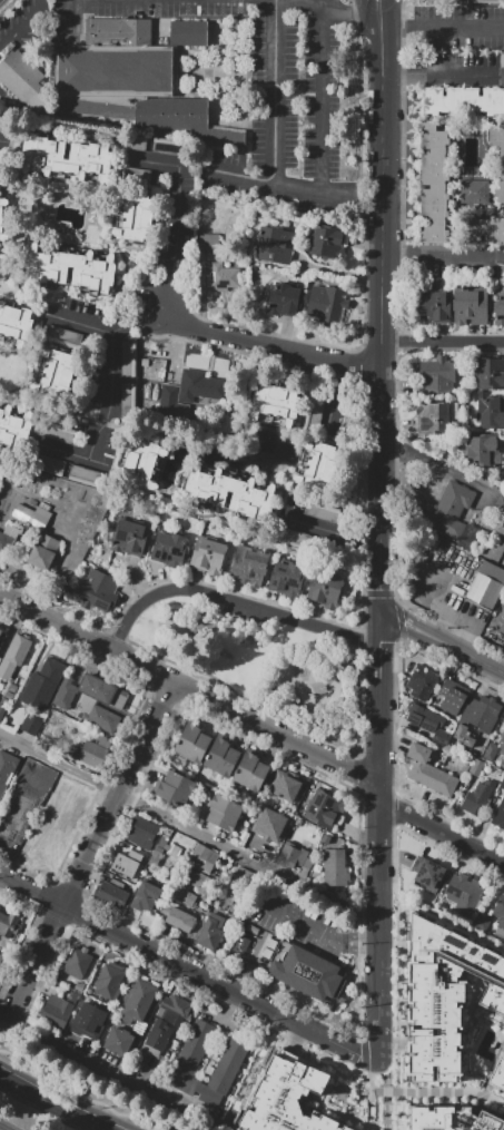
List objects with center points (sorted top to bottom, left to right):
building: (439, 0)
road: (386, 1)
building: (488, 1)
road: (326, 8)
road: (370, 11)
road: (384, 11)
road: (68, 12)
road: (21, 24)
road: (442, 27)
parking lot: (465, 27)
building: (188, 33)
parking lot: (458, 60)
building: (502, 60)
parking lot: (502, 60)
building: (116, 61)
road: (443, 77)
building: (23, 79)
road: (275, 92)
parking lot: (265, 94)
building: (465, 100)
road: (324, 101)
building: (180, 119)
building: (1, 124)
parking lot: (6, 137)
building: (2, 155)
building: (68, 157)
building: (498, 158)
building: (137, 176)
building: (3, 180)
building: (433, 184)
road: (299, 189)
building: (475, 190)
road: (178, 196)
parking lot: (184, 198)
building: (135, 216)
building: (2, 218)
building: (482, 229)
building: (213, 240)
building: (327, 242)
road: (21, 245)
building: (275, 245)
road: (144, 247)
road: (443, 254)
building: (2, 259)
road: (123, 267)
parking lot: (457, 271)
building: (501, 271)
parking lot: (501, 271)
road: (338, 272)
building: (93, 273)
building: (224, 278)
road: (23, 291)
road: (167, 294)
building: (283, 299)
building: (326, 303)
building: (470, 305)
building: (434, 307)
building: (500, 309)
road: (137, 320)
road: (382, 321)
road: (41, 324)
building: (14, 325)
building: (65, 332)
road: (442, 341)
road: (62, 344)
road: (269, 344)
building: (128, 357)
building: (437, 371)
road: (29, 373)
building: (491, 373)
building: (56, 374)
road: (339, 376)
parking lot: (90, 385)
building: (190, 391)
building: (128, 400)
road: (110, 401)
building: (275, 402)
building: (317, 410)
road: (332, 411)
building: (491, 412)
parking lot: (329, 414)
building: (434, 417)
building: (13, 426)
building: (57, 432)
road: (300, 434)
road: (175, 438)
building: (484, 451)
road: (21, 456)
building: (142, 463)
building: (49, 464)
building: (317, 466)
road: (439, 468)
building: (503, 471)
building: (86, 476)
building: (206, 490)
road: (192, 505)
building: (500, 505)
building: (451, 510)
building: (322, 511)
building: (32, 514)
parking lot: (314, 524)
road: (320, 527)
building: (8, 535)
building: (130, 538)
building: (293, 538)
road: (364, 540)
building: (172, 548)
building: (43, 551)
building: (209, 556)
building: (248, 567)
building: (287, 580)
building: (486, 584)
building: (97, 590)
building: (325, 591)
road: (234, 601)
parking lot: (244, 615)
building: (0, 629)
building: (0, 631)
road: (444, 642)
road: (190, 647)
building: (14, 656)
building: (0, 658)
park: (264, 667)
building: (421, 681)
road: (304, 682)
building: (43, 684)
building: (12, 688)
road: (191, 688)
building: (102, 691)
building: (65, 694)
building: (8, 695)
building: (453, 696)
building: (4, 700)
building: (2, 710)
building: (482, 714)
building: (98, 715)
building: (424, 718)
building: (31, 725)
building: (464, 736)
building: (441, 737)
building: (502, 741)
building: (192, 743)
building: (96, 751)
building: (491, 751)
building: (418, 753)
building: (503, 753)
building: (221, 757)
building: (7, 769)
building: (250, 772)
building: (422, 773)
building: (30, 780)
building: (444, 783)
building: (285, 786)
building: (176, 789)
building: (477, 798)
building: (320, 808)
building: (224, 813)
building: (500, 815)
building: (269, 825)
building: (7, 832)
building: (141, 833)
road: (190, 833)
road: (444, 833)
building: (244, 838)
building: (326, 839)
road: (384, 841)
road: (92, 848)
building: (156, 856)
building: (294, 856)
building: (204, 859)
building: (126, 861)
building: (335, 867)
building: (431, 875)
building: (245, 877)
building: (198, 881)
building: (112, 893)
building: (466, 893)
building: (146, 896)
building: (184, 896)
building: (500, 915)
building: (179, 918)
road: (444, 920)
parking lot: (296, 921)
road: (299, 921)
building: (482, 922)
building: (8, 924)
building: (253, 928)
building: (210, 932)
road: (360, 935)
building: (245, 940)
building: (259, 943)
road: (364, 949)
building: (0, 955)
building: (78, 962)
road: (190, 970)
building: (309, 973)
building: (110, 980)
building: (79, 986)
building: (445, 994)
building: (85, 998)
building: (138, 999)
building: (176, 1004)
building: (56, 1011)
building: (88, 1020)
road: (394, 1025)
building: (503, 1030)
building: (159, 1034)
building: (118, 1041)
building: (85, 1042)
building: (194, 1048)
building: (227, 1064)
road: (113, 1071)
road: (257, 1073)
building: (498, 1075)
road: (375, 1090)
road: (78, 1091)
road: (441, 1091)
road: (386, 1094)
building: (285, 1099)
road: (51, 1103)
building: (452, 1119)

